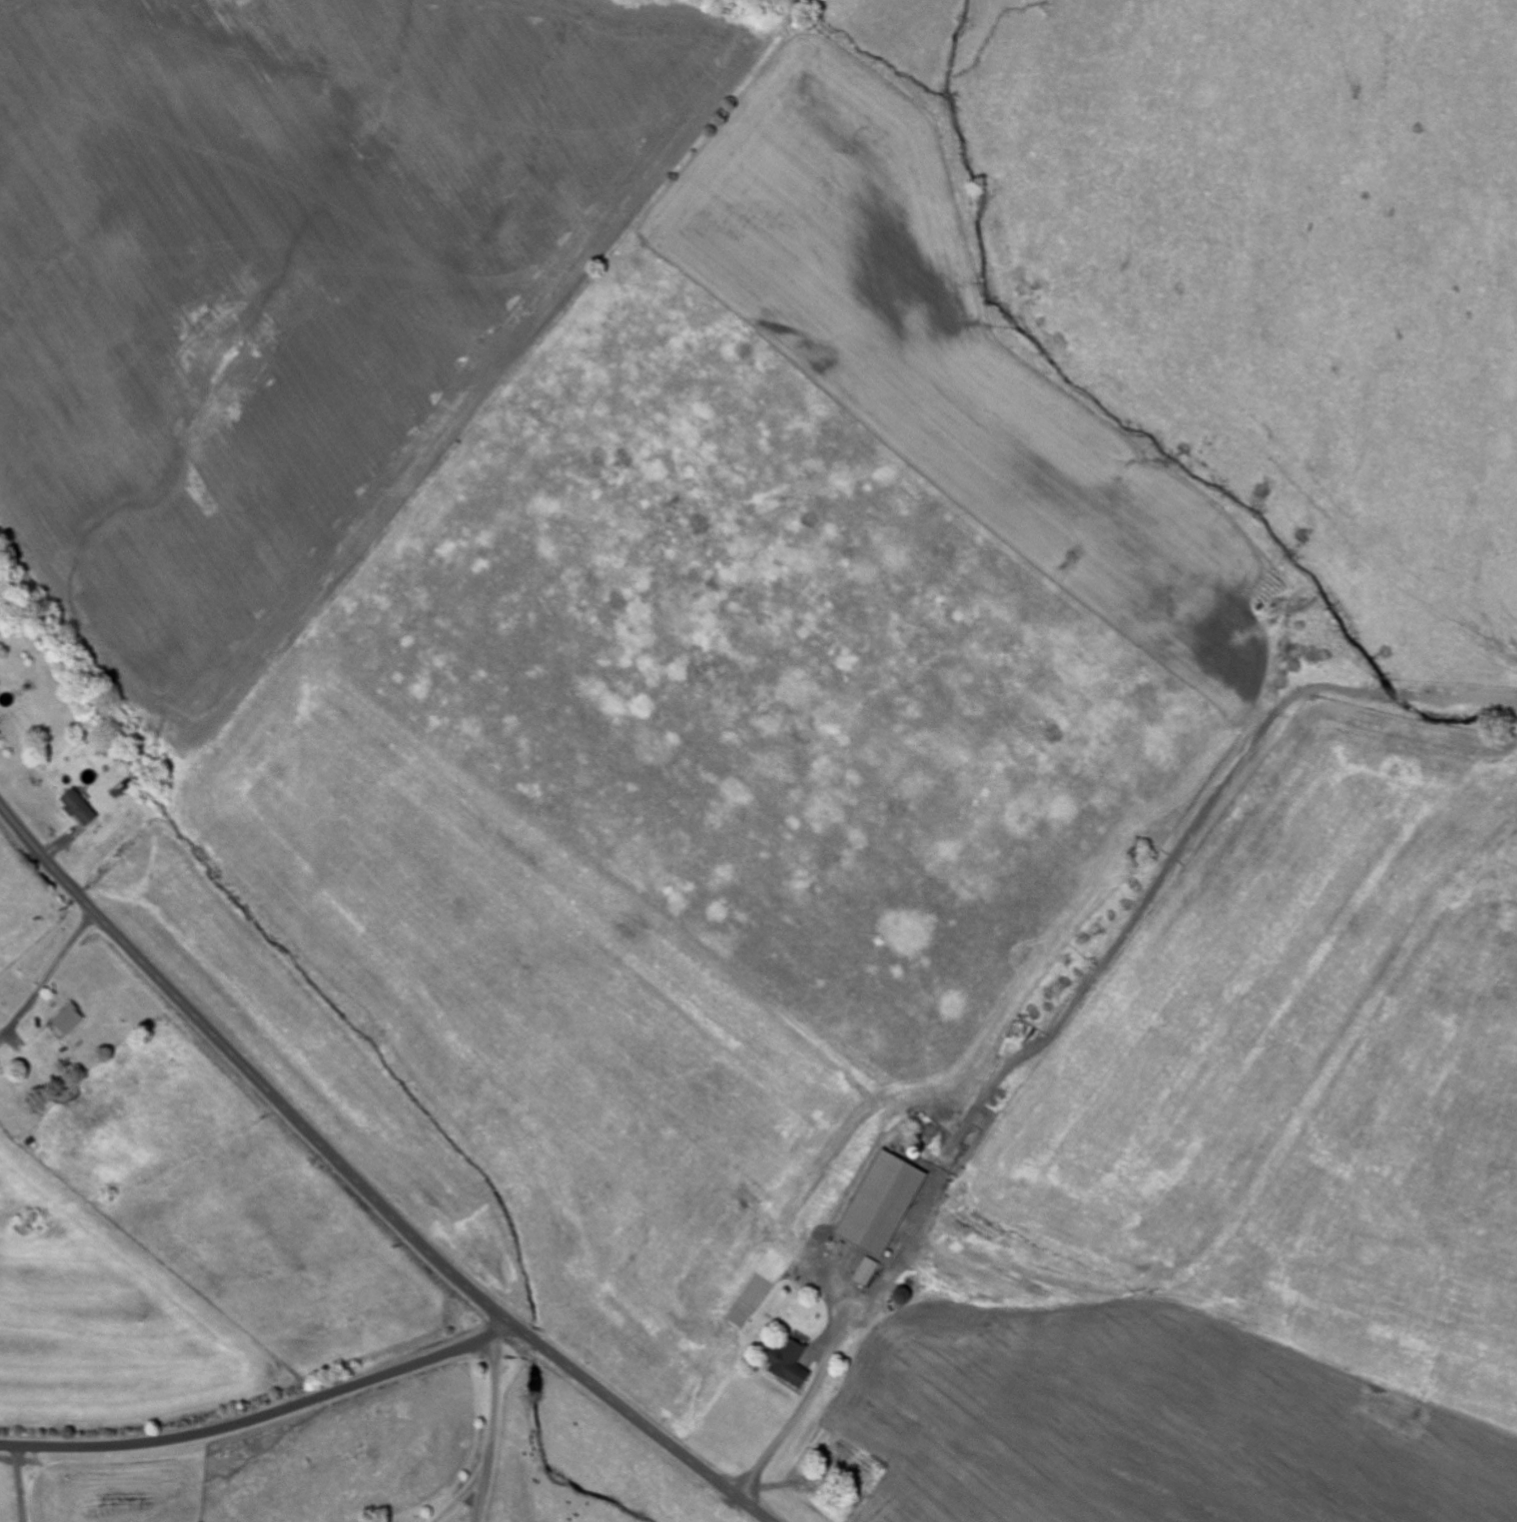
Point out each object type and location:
building: (76, 810)
building: (64, 1023)
road: (363, 1187)
building: (878, 1206)
building: (866, 1274)
building: (786, 1366)
road: (264, 1416)

